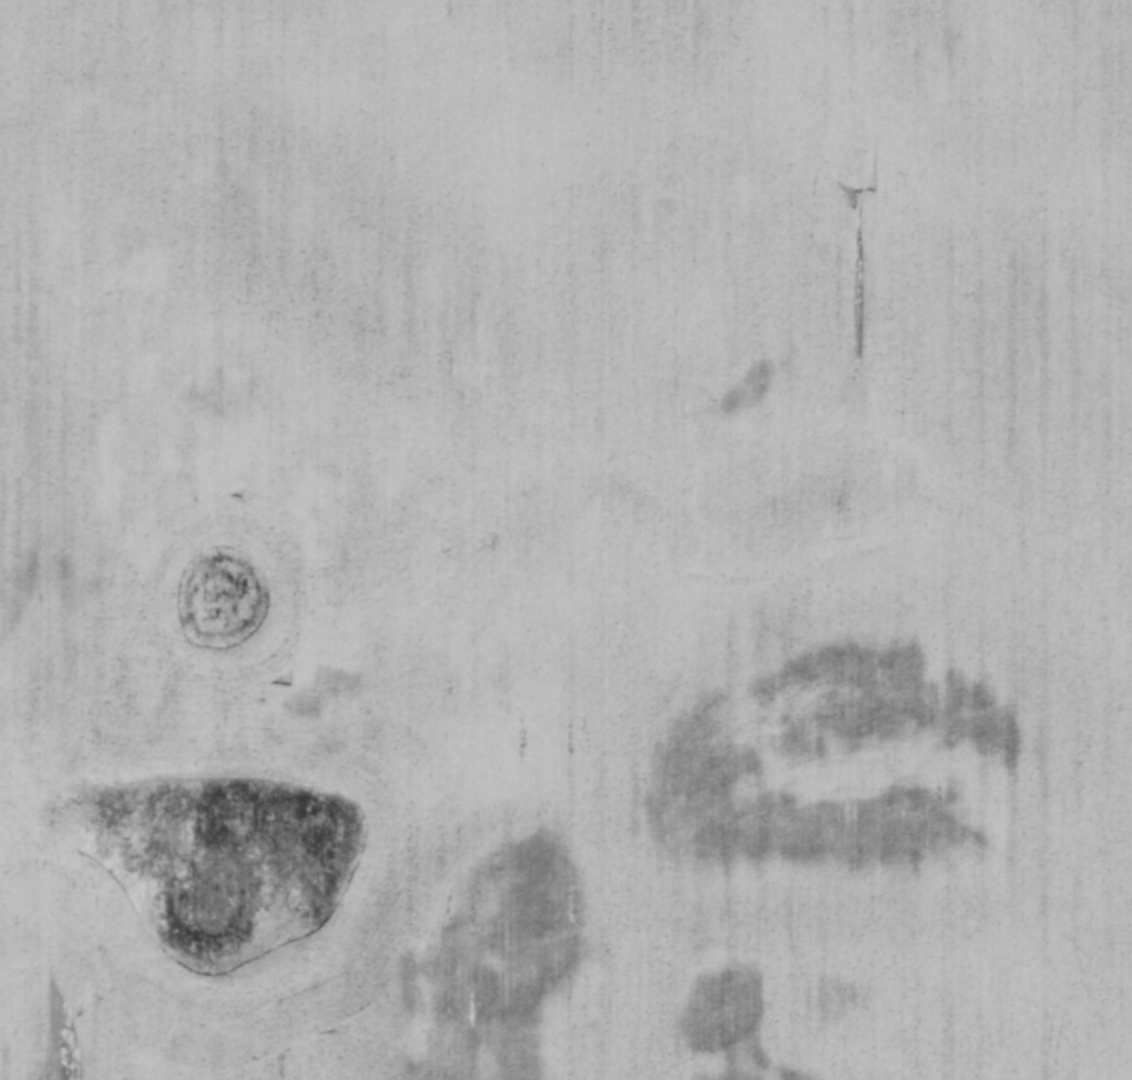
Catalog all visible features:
crop: (565, 540)

